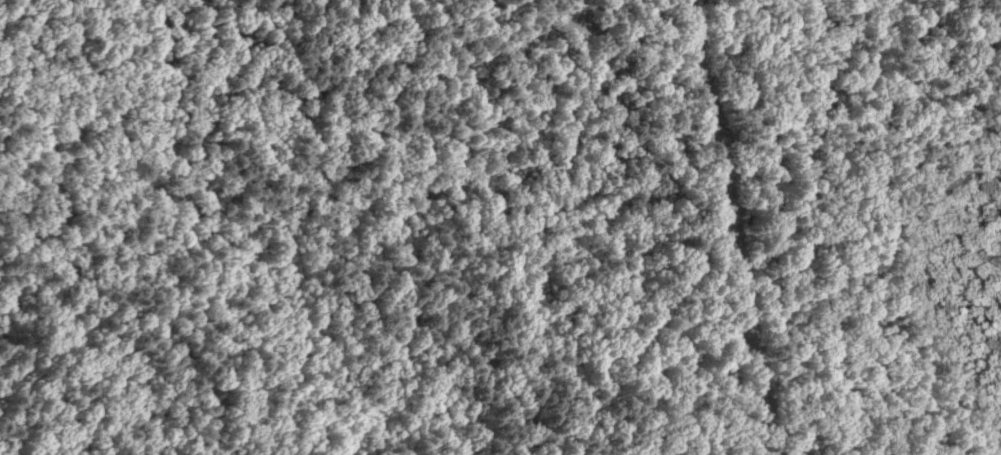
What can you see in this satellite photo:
road: (745, 227)

